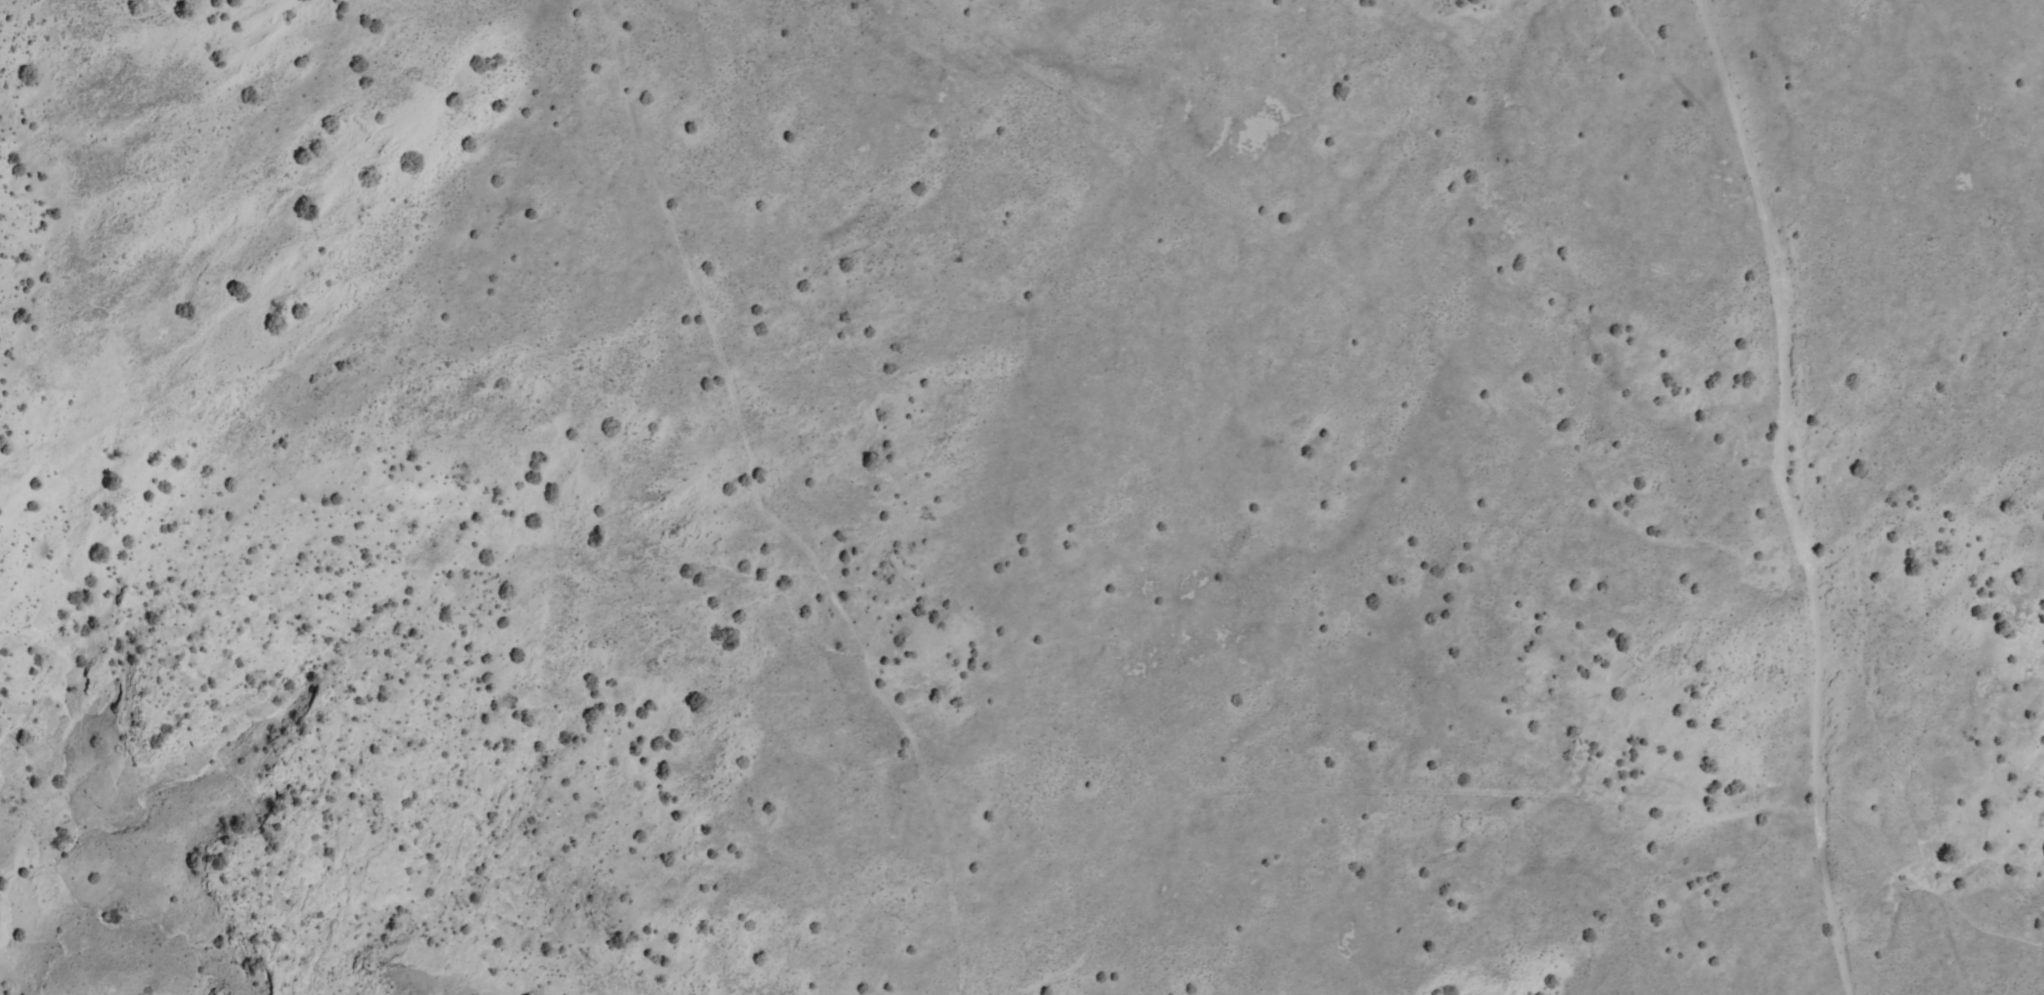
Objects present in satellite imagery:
road: (1838, 470)

